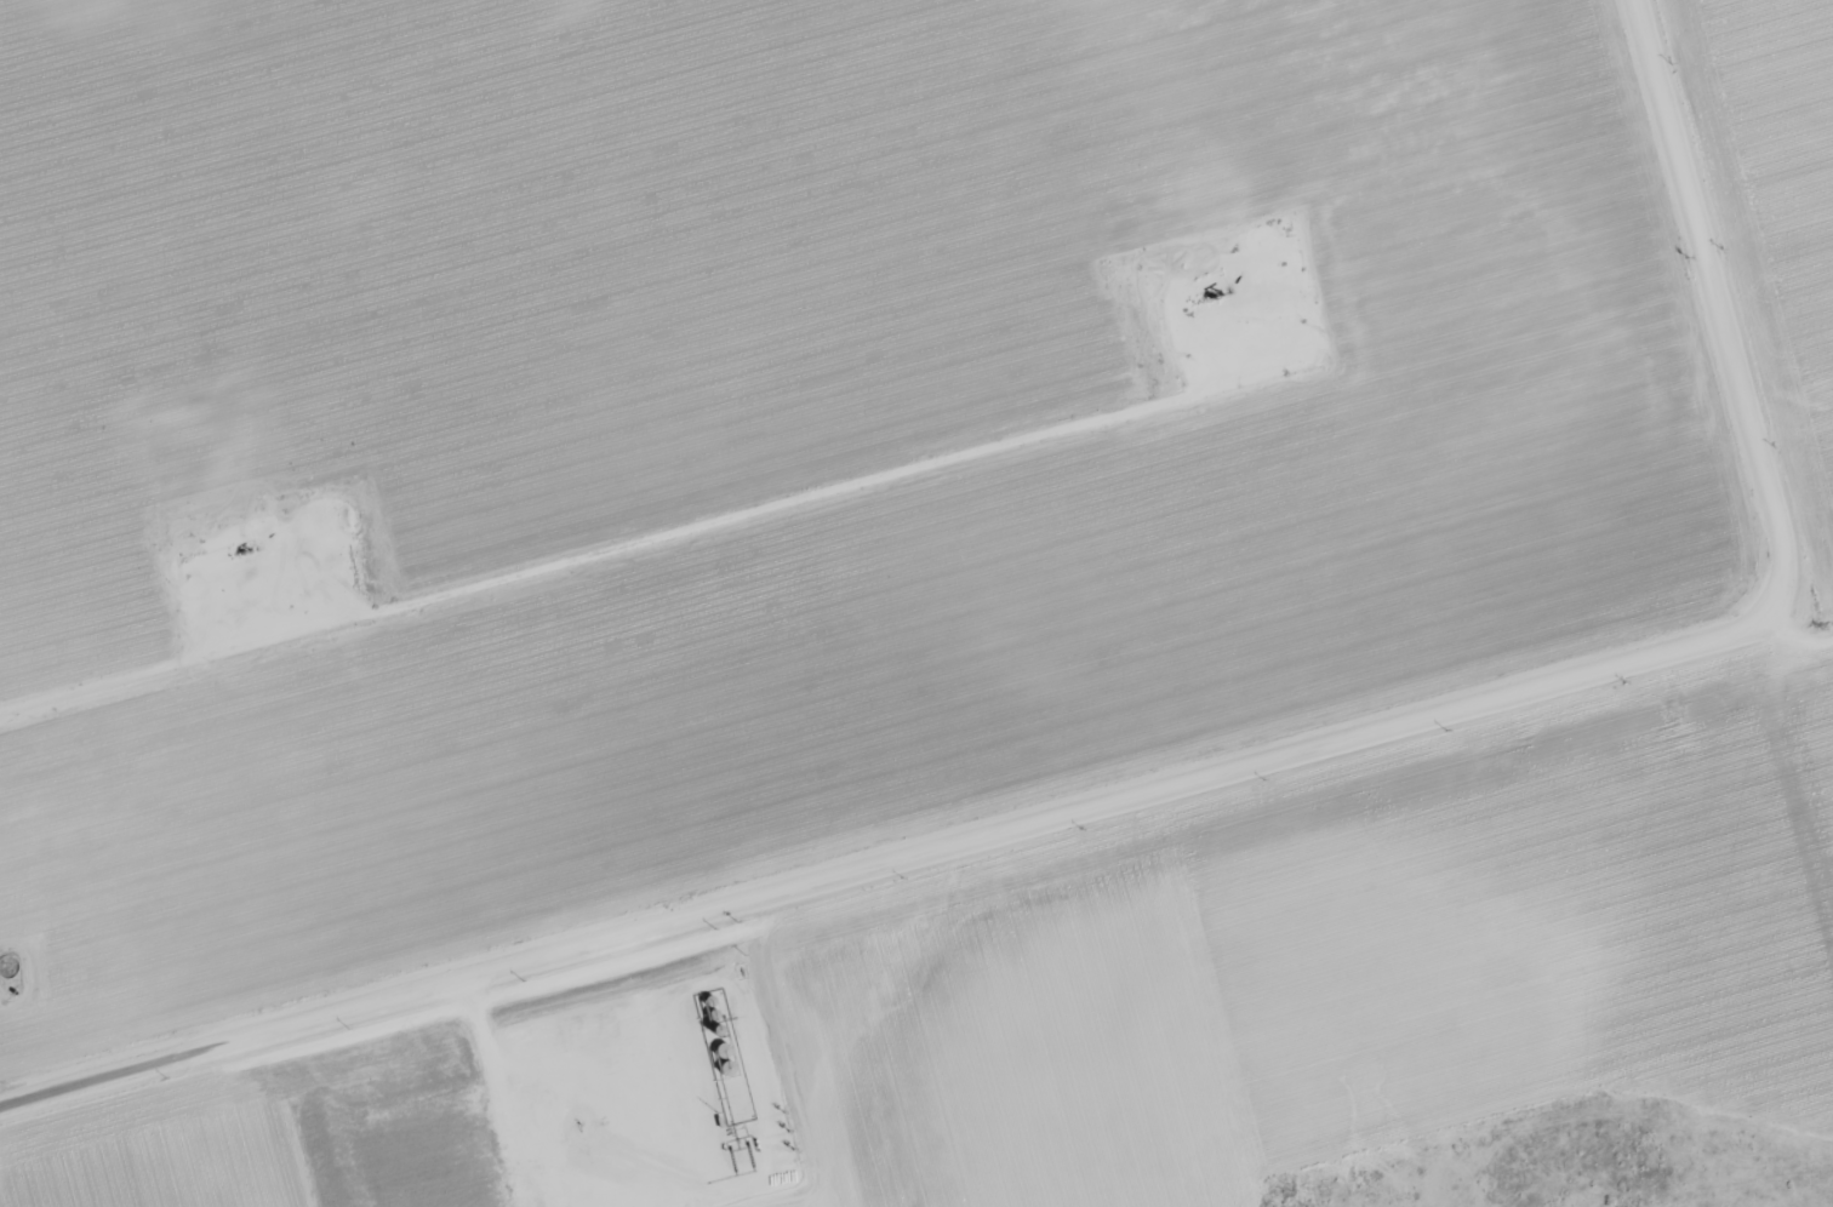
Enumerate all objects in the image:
road: (1718, 303)
road: (885, 871)

